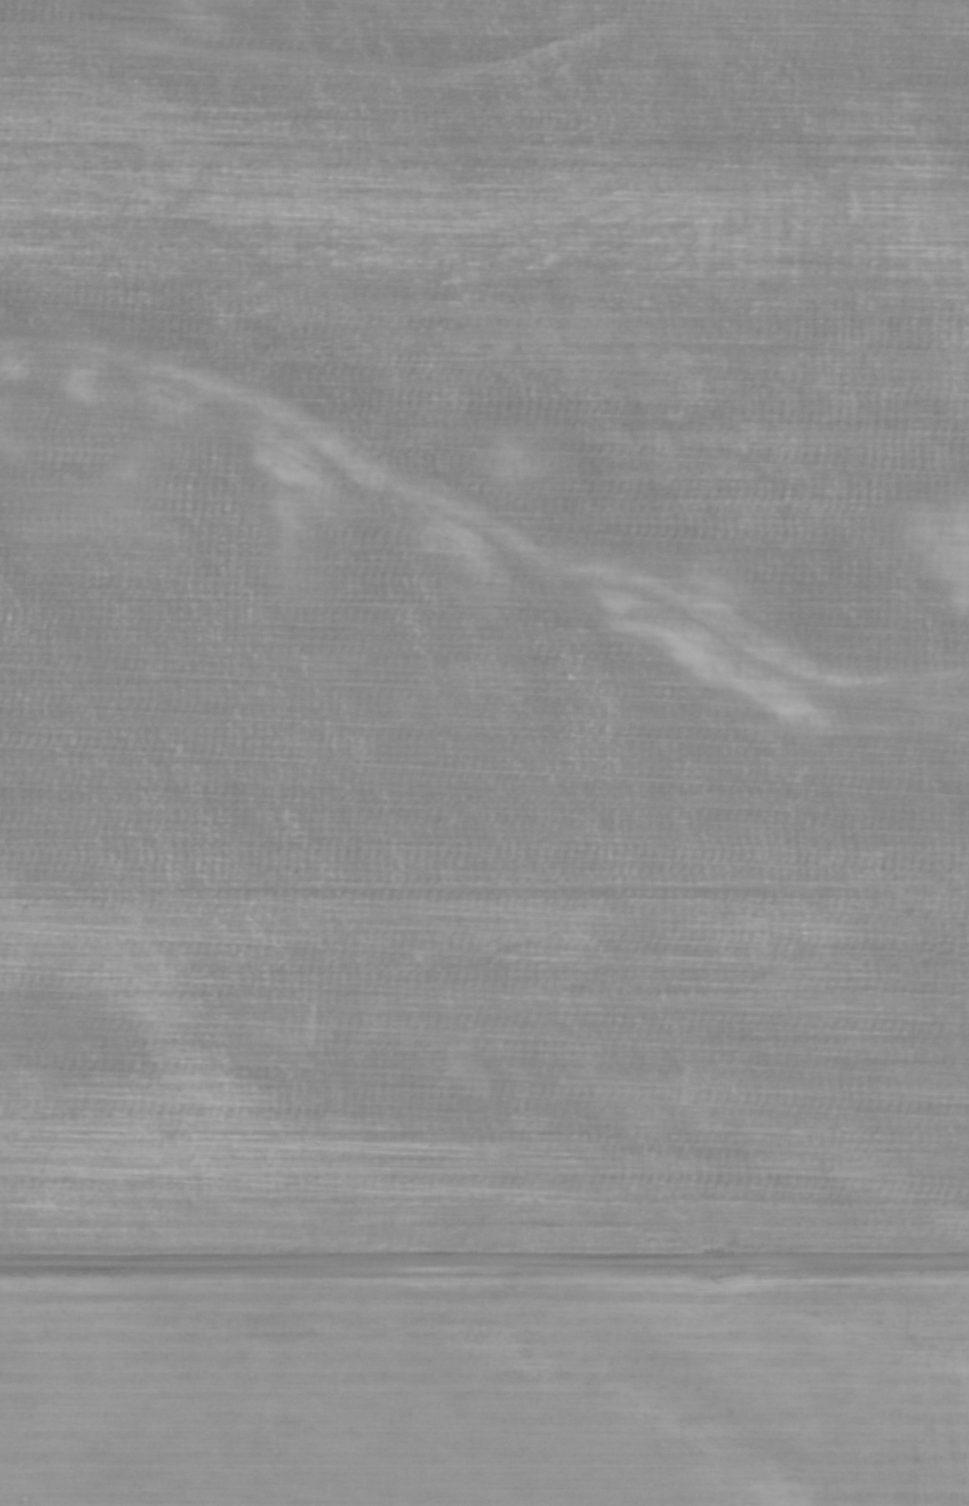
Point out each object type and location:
crop: (484, 622)
road: (484, 1259)
crop: (484, 1388)

